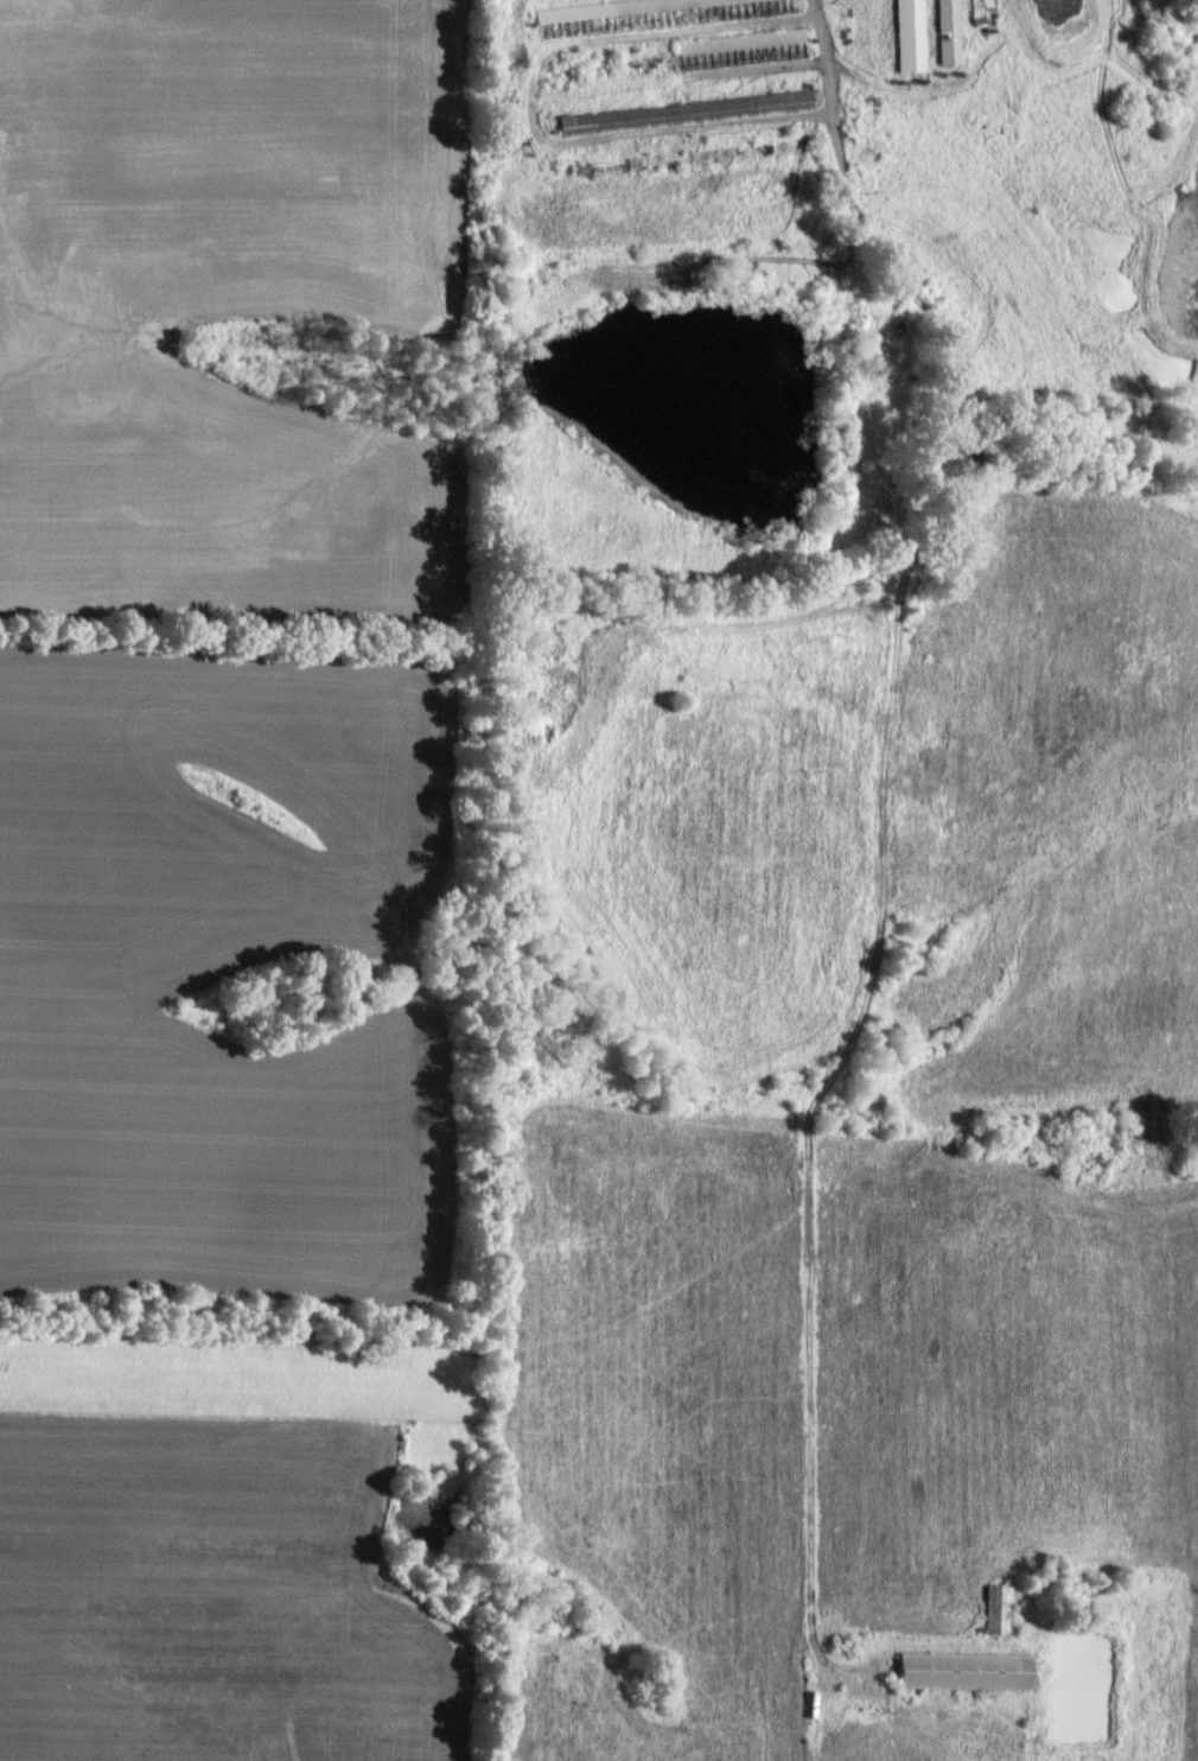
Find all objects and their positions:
building: (979, 9)
building: (947, 31)
building: (909, 34)
building: (998, 1608)
building: (963, 1670)

